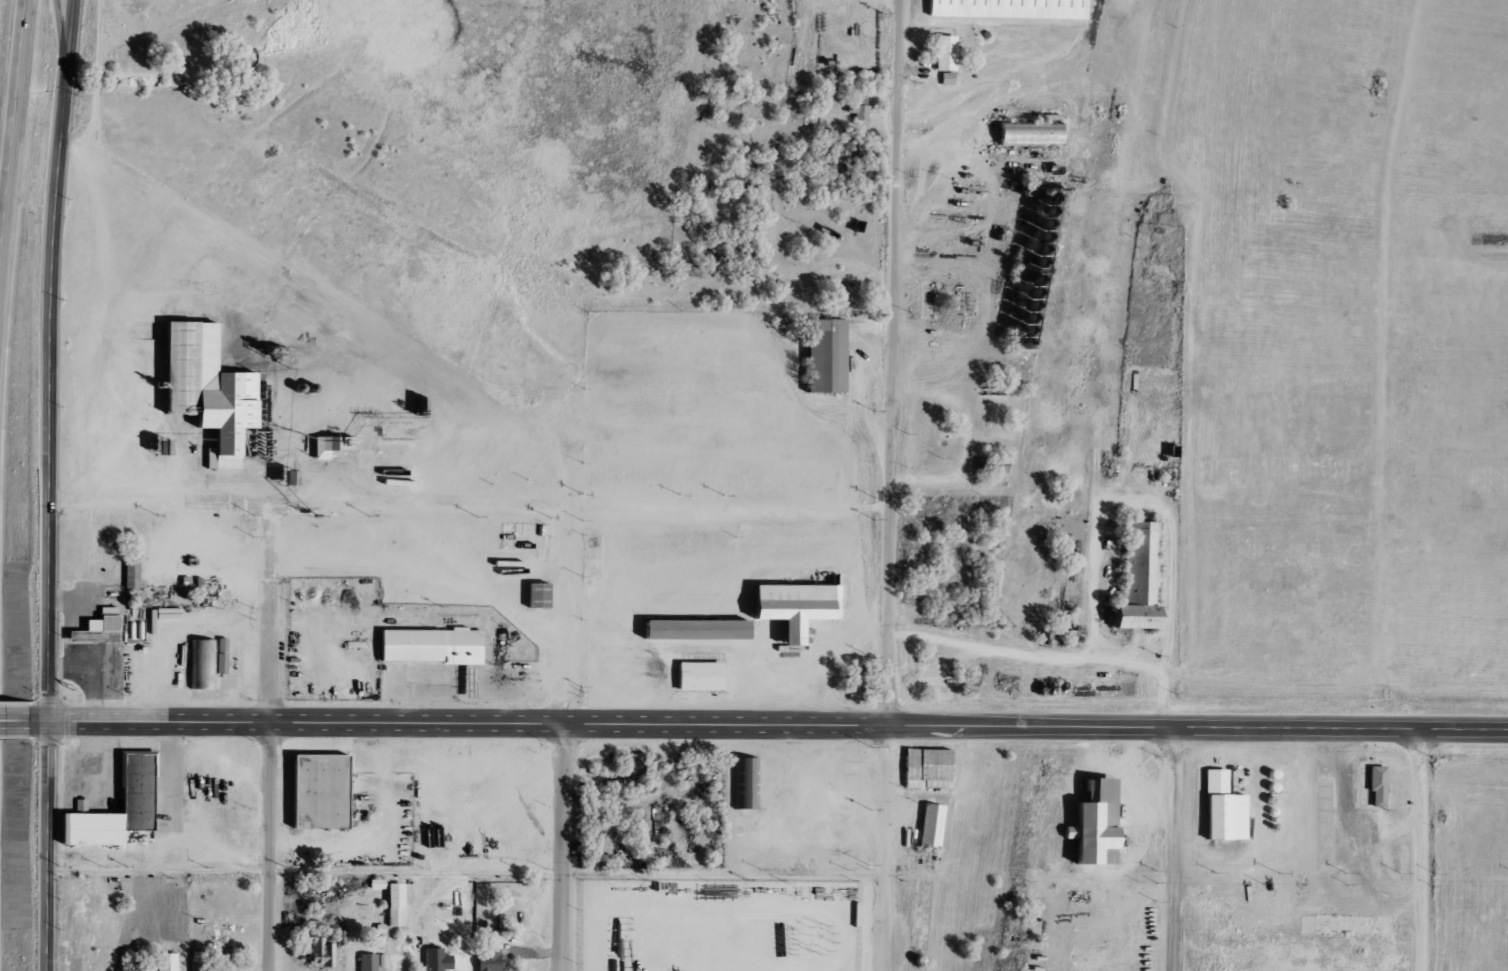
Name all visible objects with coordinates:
building: (1018, 10)
road: (61, 39)
building: (942, 53)
building: (945, 79)
building: (856, 108)
road: (15, 132)
building: (1025, 135)
building: (835, 359)
building: (219, 387)
building: (329, 445)
road: (48, 484)
road: (890, 485)
railway: (1068, 485)
road: (469, 508)
building: (131, 547)
building: (129, 574)
building: (1149, 579)
building: (535, 595)
building: (547, 595)
building: (806, 607)
road: (272, 615)
building: (97, 627)
building: (705, 629)
building: (442, 646)
road: (1053, 657)
building: (205, 662)
building: (709, 677)
building: (460, 681)
road: (13, 720)
road: (767, 725)
building: (937, 770)
building: (147, 782)
building: (745, 783)
building: (1372, 788)
building: (330, 791)
building: (1219, 808)
building: (1091, 824)
building: (928, 826)
building: (941, 828)
road: (269, 847)
road: (561, 847)
road: (1173, 849)
road: (1420, 849)
road: (465, 876)
building: (392, 905)
building: (322, 946)
building: (485, 959)
building: (433, 960)
building: (379, 961)
building: (164, 962)
building: (365, 962)
building: (197, 964)

